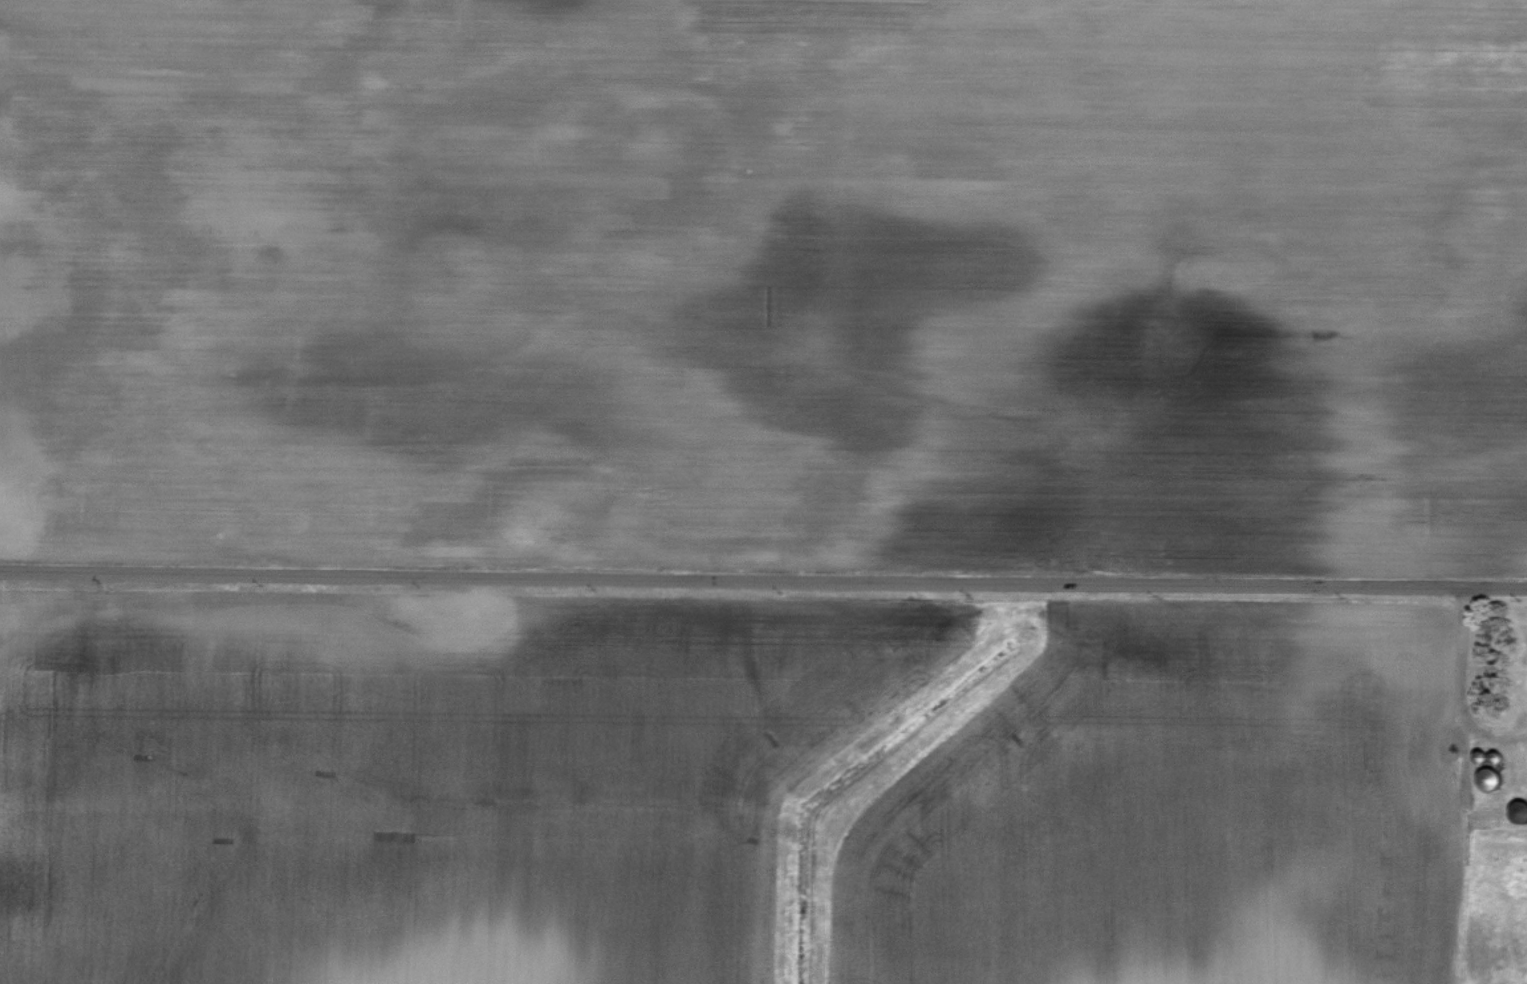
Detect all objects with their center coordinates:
road: (763, 577)

